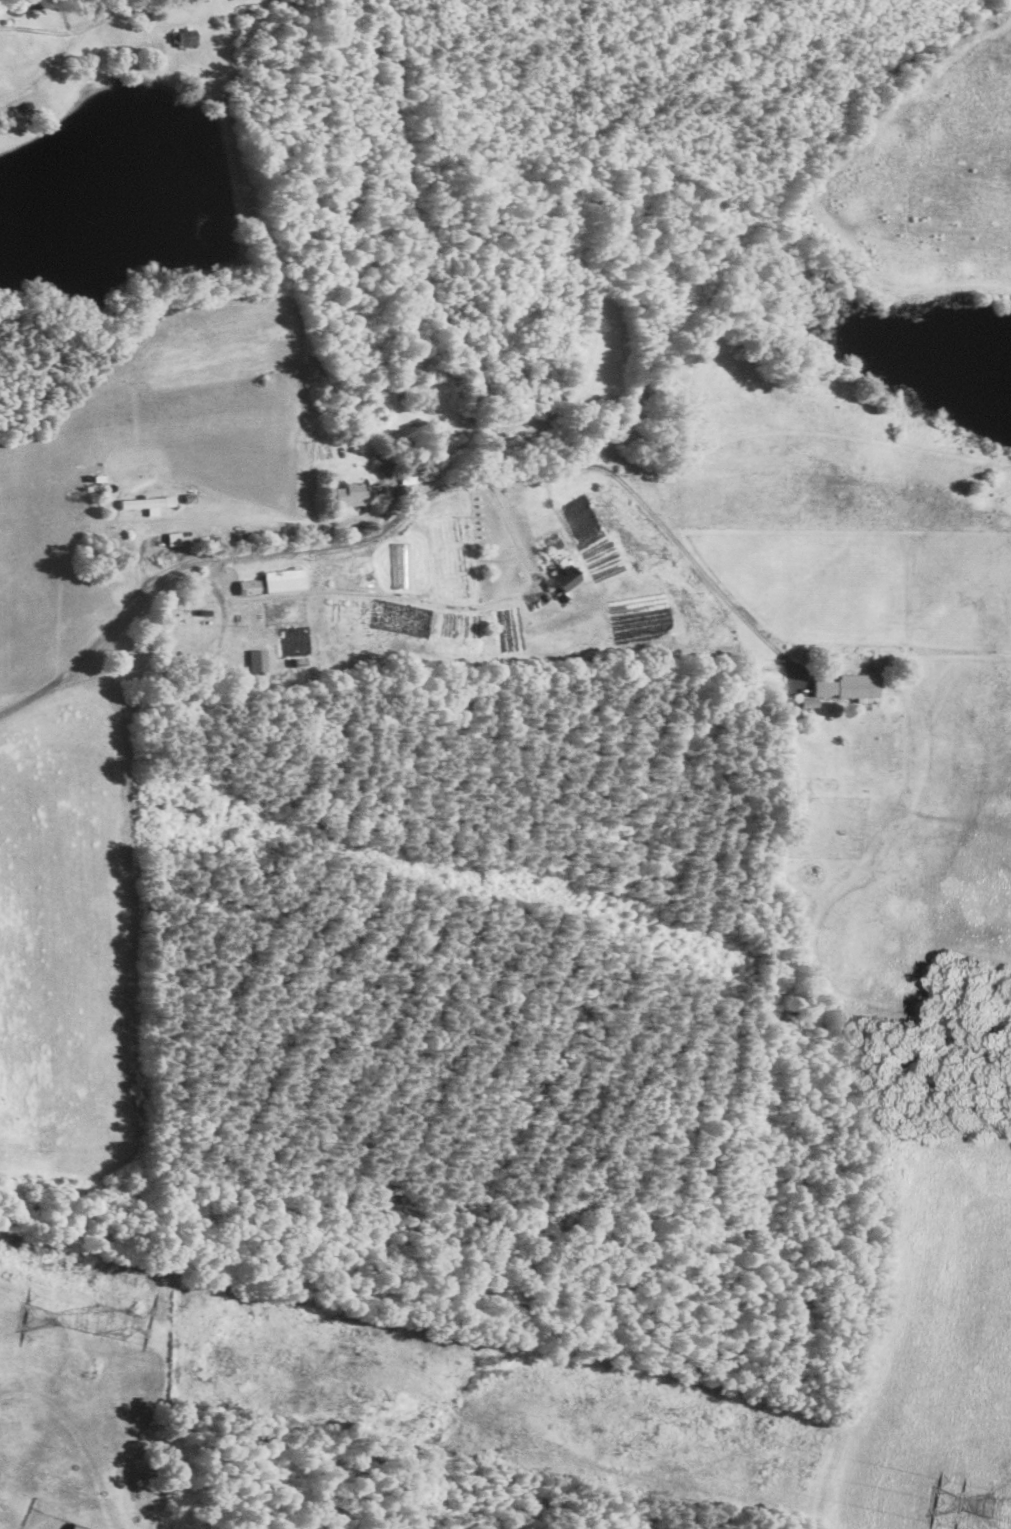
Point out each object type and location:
road: (22, 20)
road: (416, 256)
building: (351, 495)
building: (149, 504)
road: (512, 532)
road: (285, 551)
road: (699, 566)
building: (259, 661)
road: (185, 665)
building: (843, 686)
power tower: (110, 1321)
power tower: (1004, 1508)

